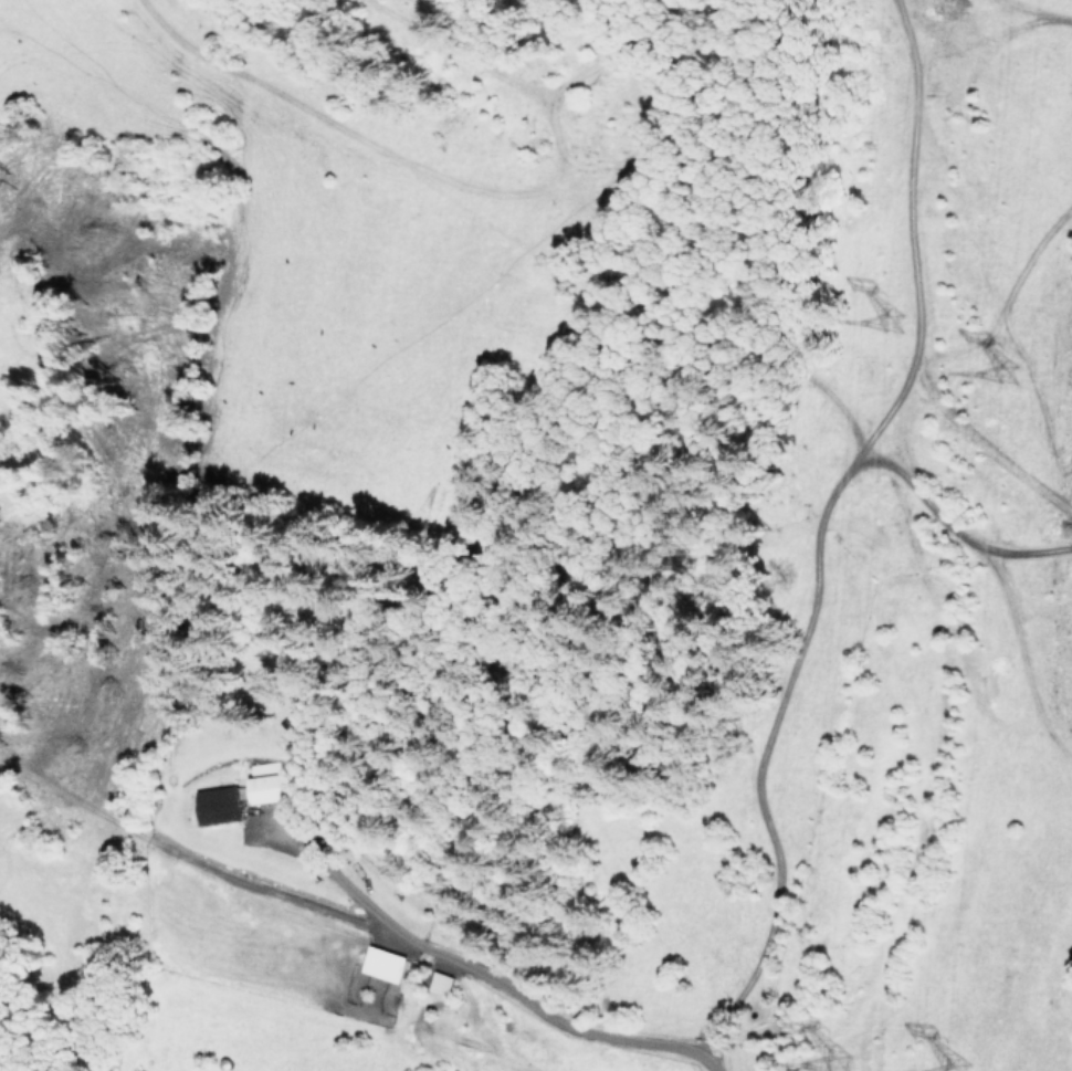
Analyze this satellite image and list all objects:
power tower: (898, 313)
power tower: (1023, 366)
building: (266, 783)
building: (220, 805)
crop: (988, 953)
building: (383, 964)
road: (493, 984)
crop: (348, 985)
power tower: (845, 1062)
power tower: (971, 1067)

